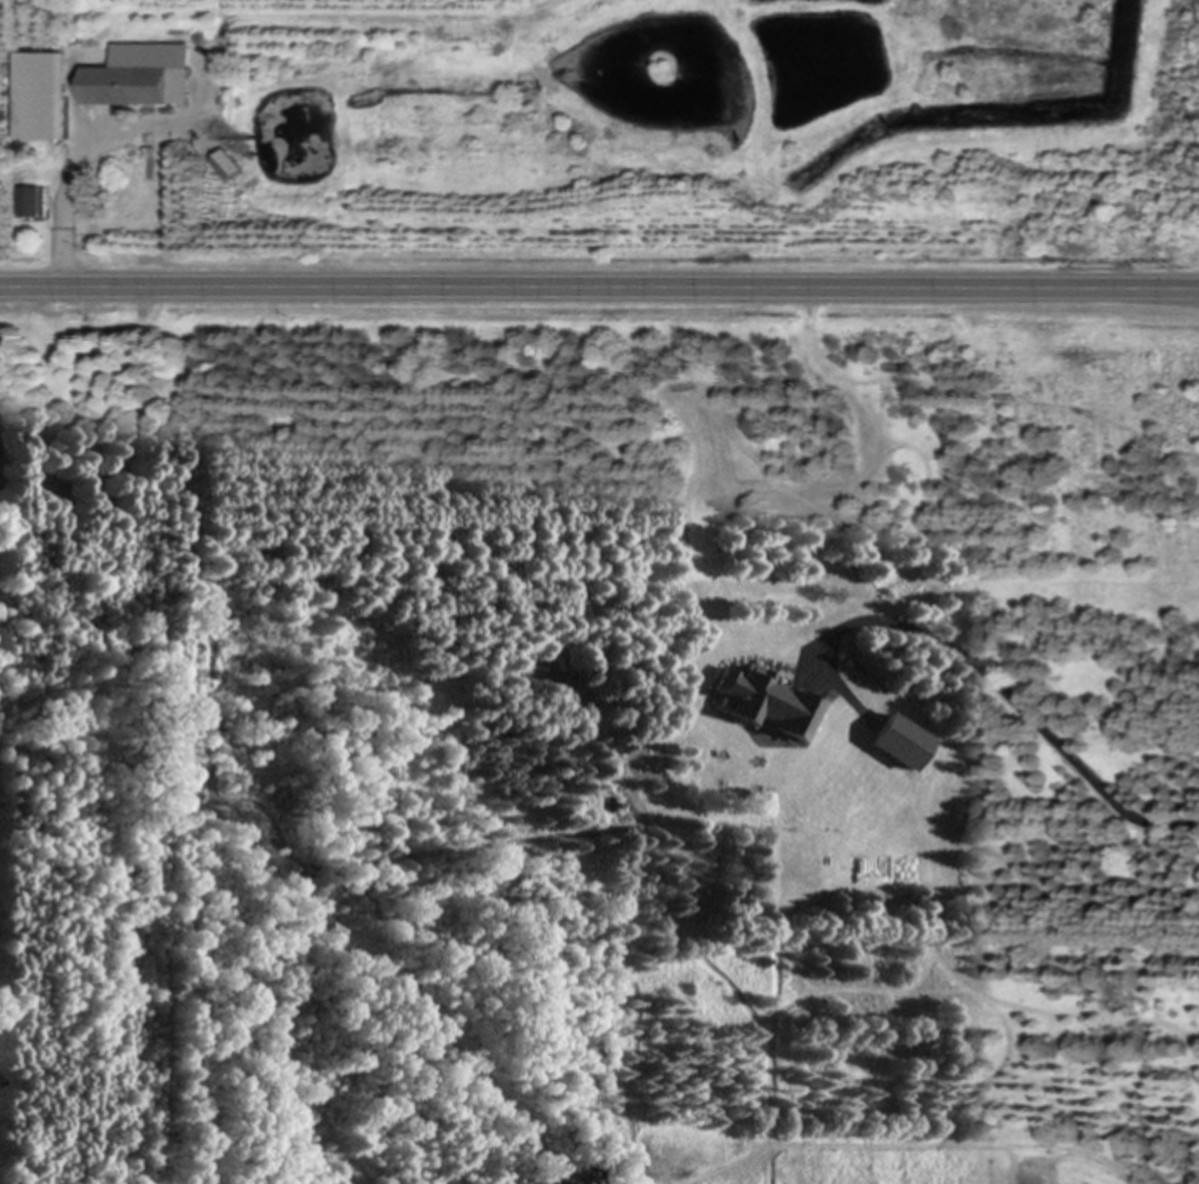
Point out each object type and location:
building: (143, 79)
building: (45, 97)
building: (227, 167)
building: (34, 203)
road: (64, 213)
road: (599, 284)
road: (1015, 696)
building: (768, 705)
building: (903, 745)

